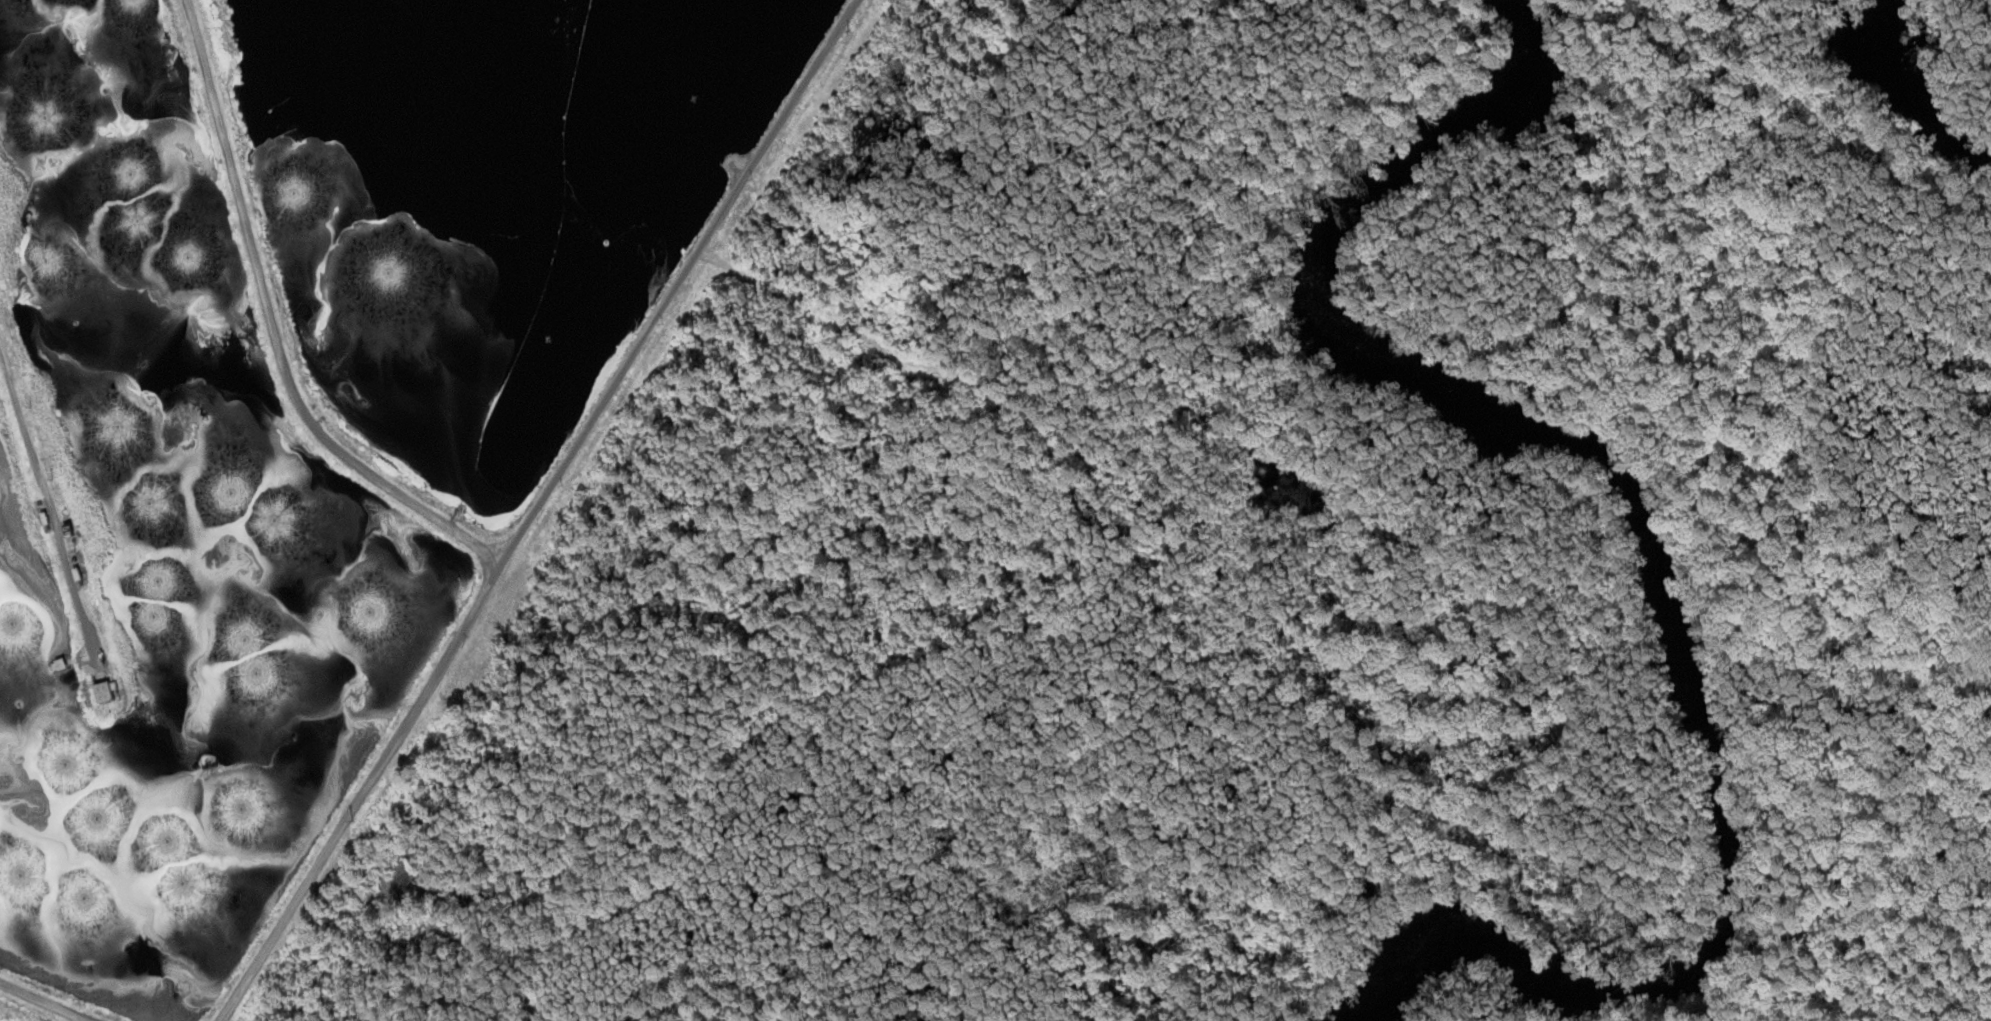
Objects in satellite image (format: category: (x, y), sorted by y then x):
road: (674, 277)
road: (275, 325)
road: (52, 507)
building: (112, 693)
road: (369, 791)
road: (40, 1001)

